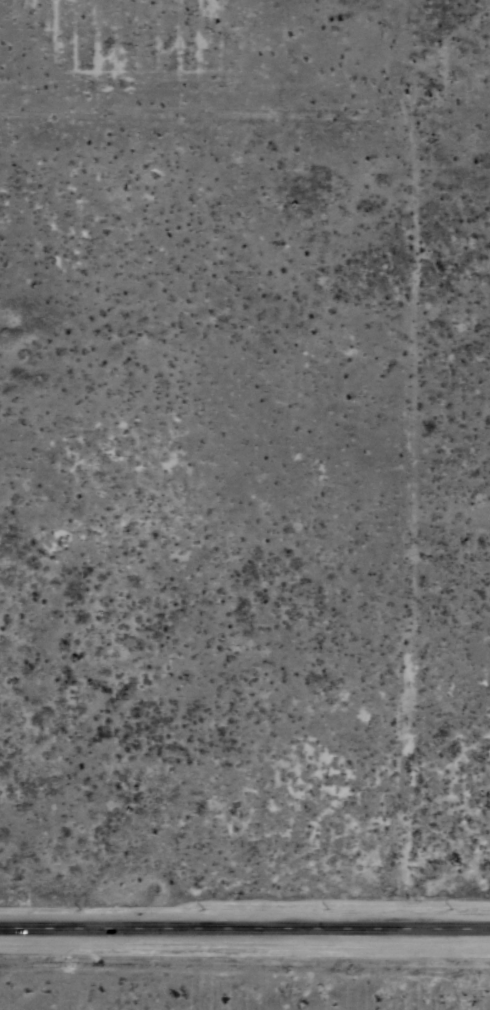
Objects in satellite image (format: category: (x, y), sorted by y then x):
road: (245, 930)

